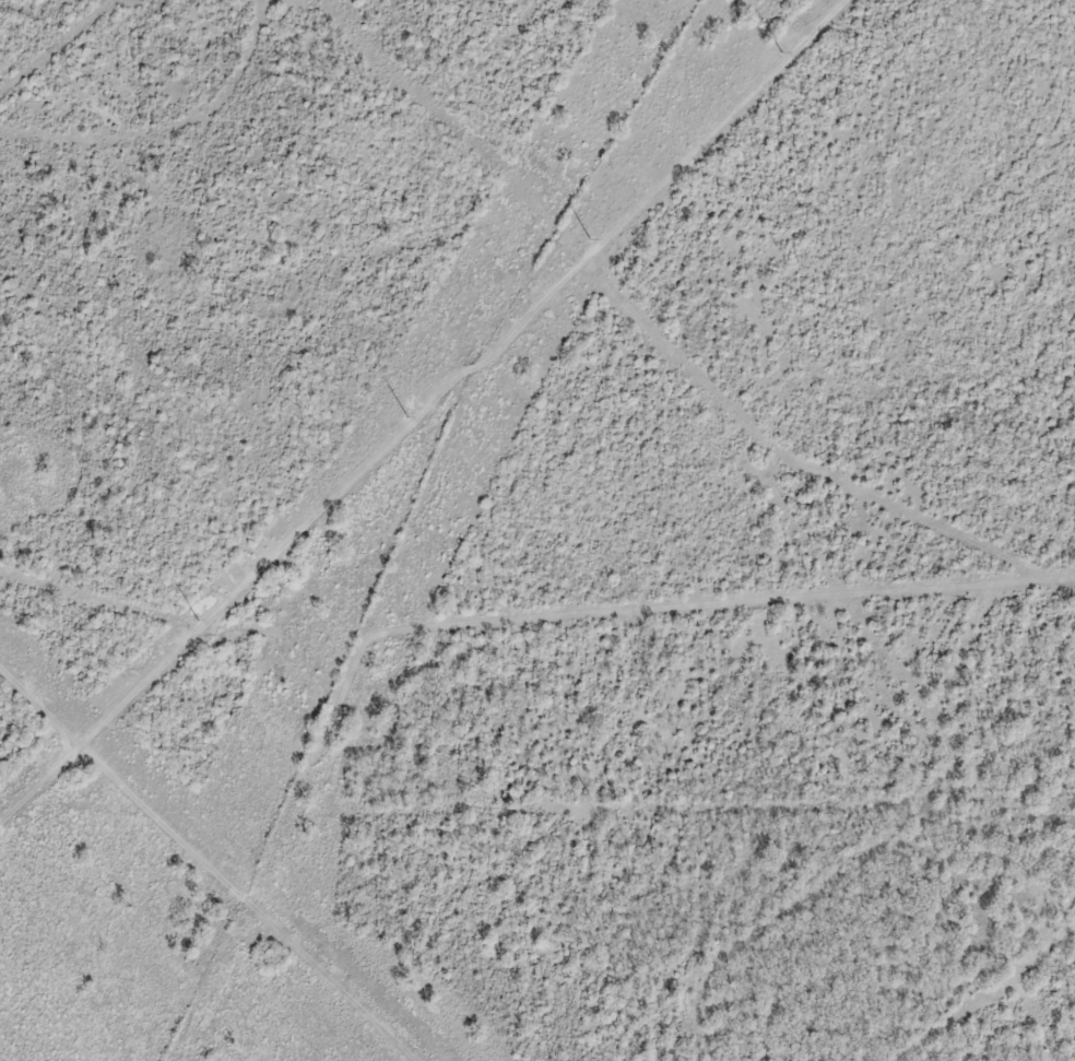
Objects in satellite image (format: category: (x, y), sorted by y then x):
power tower: (780, 52)
power tower: (590, 237)
power tower: (406, 415)
power tower: (198, 620)

